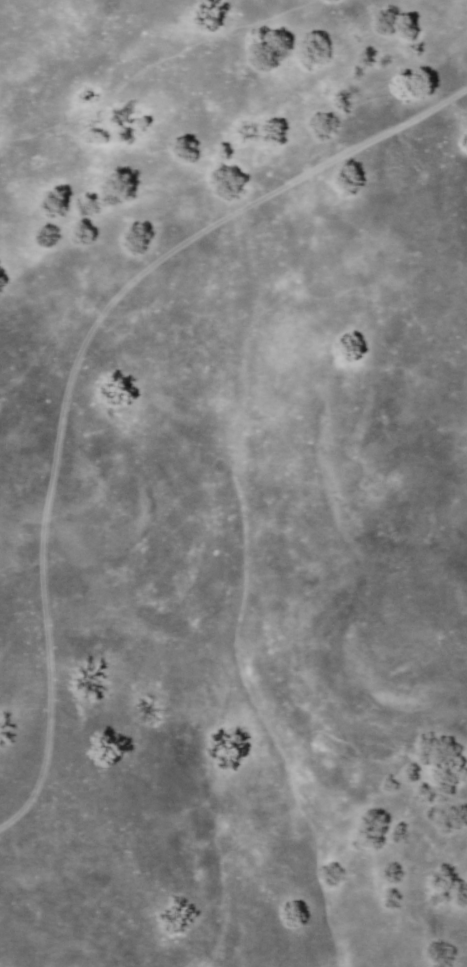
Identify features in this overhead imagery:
road: (72, 363)

